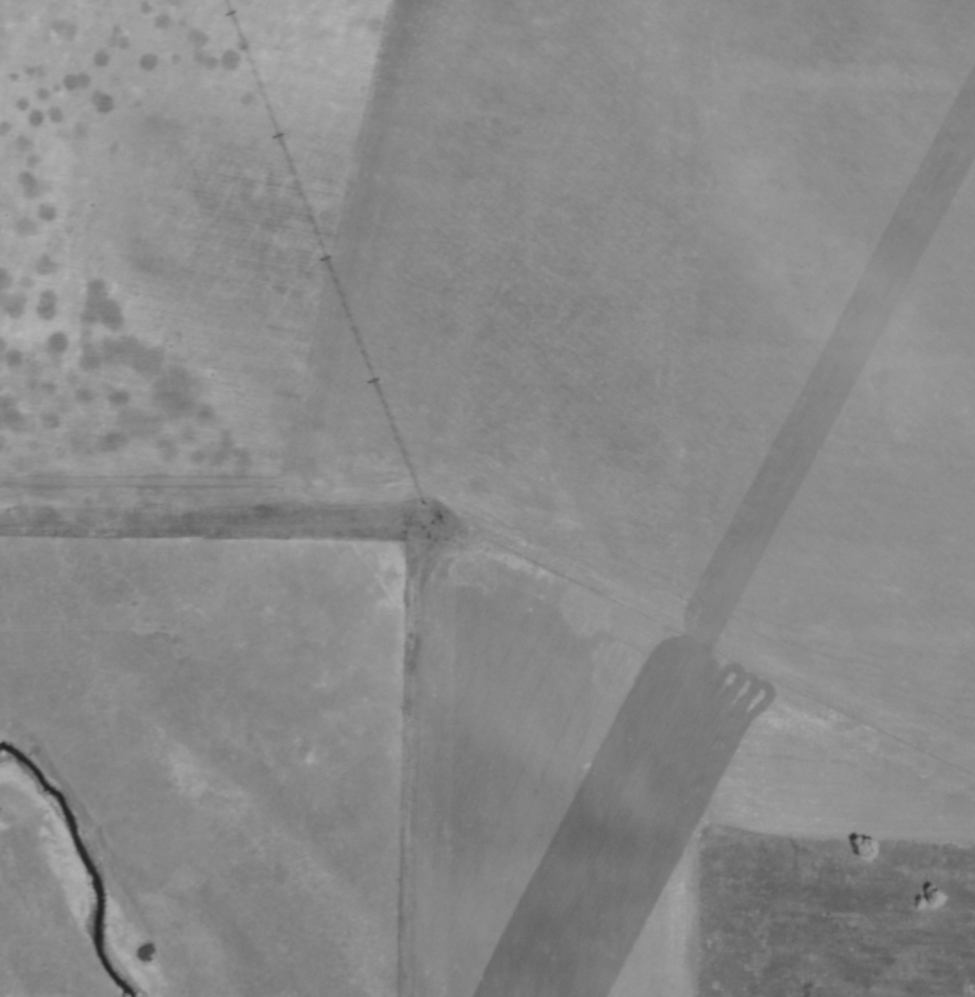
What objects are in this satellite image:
crop: (539, 403)

